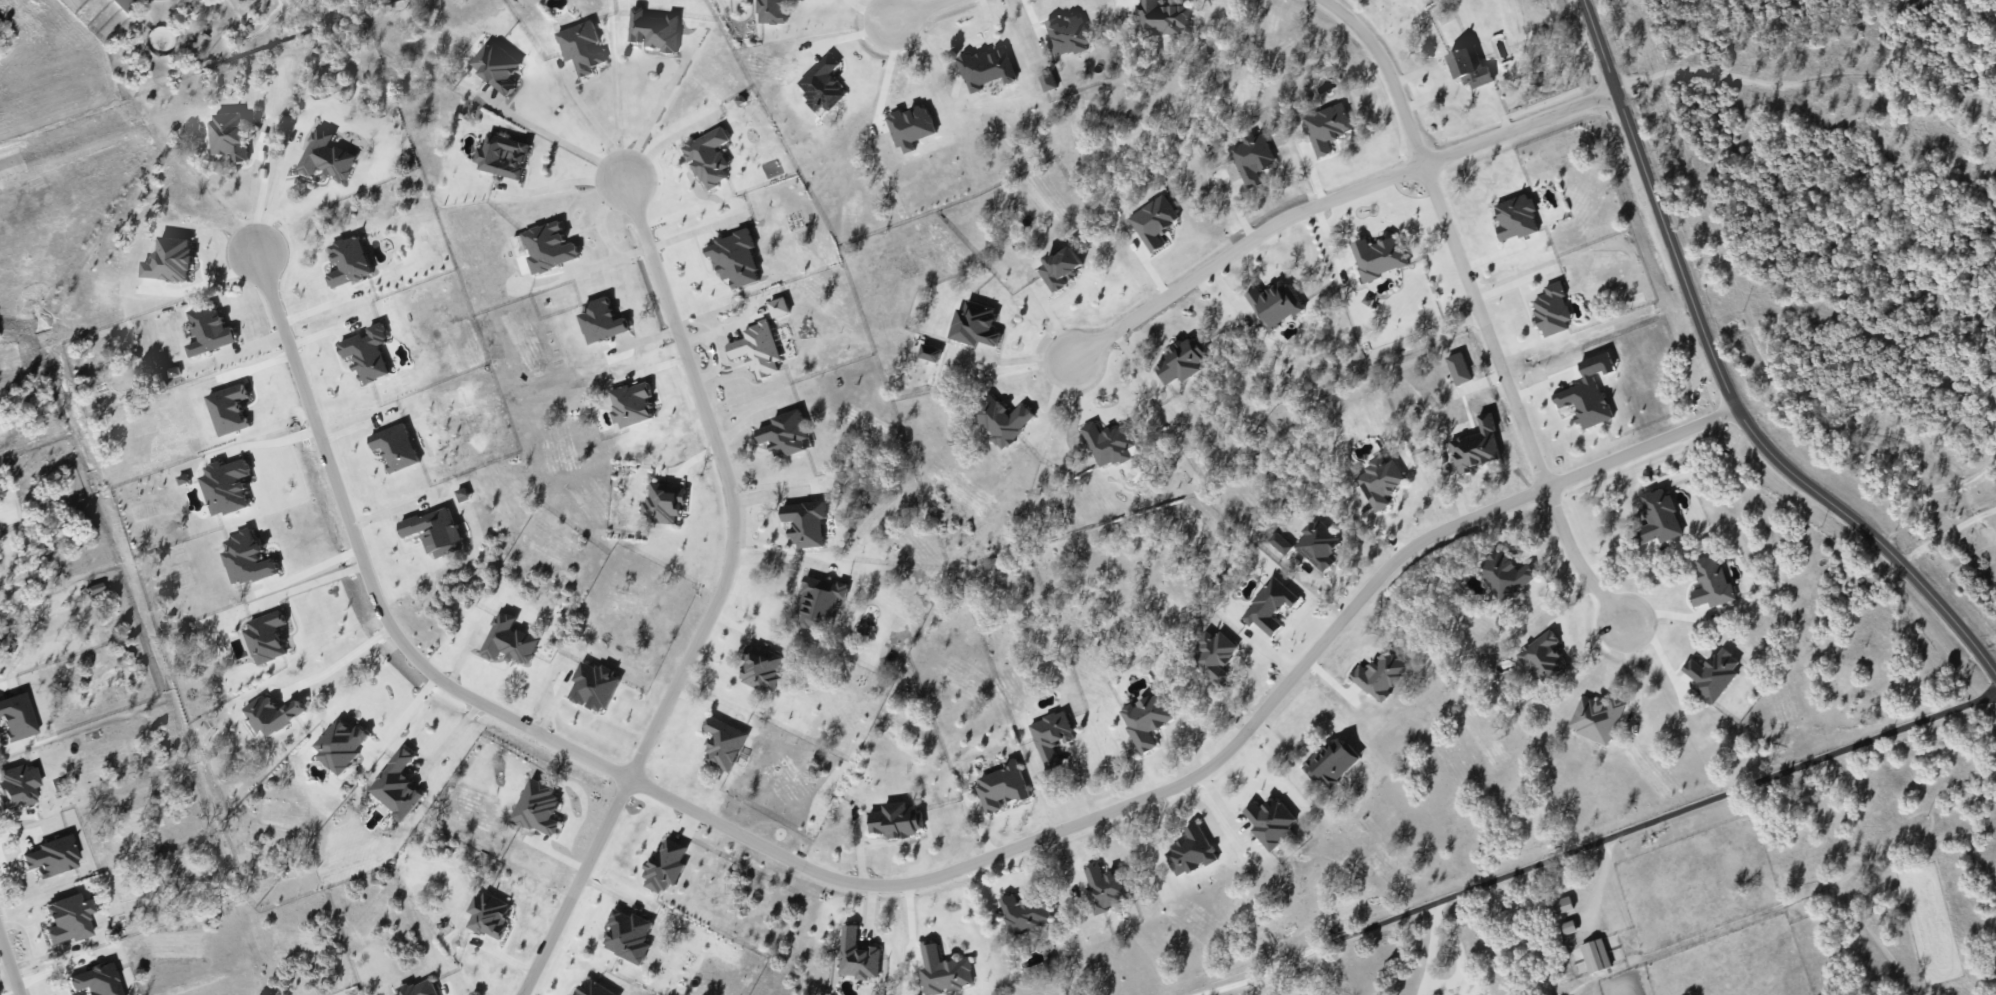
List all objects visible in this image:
building: (123, 4)
road: (874, 8)
road: (921, 8)
building: (772, 11)
building: (1161, 18)
building: (654, 29)
building: (1067, 33)
building: (581, 47)
building: (496, 66)
building: (1469, 66)
building: (985, 68)
road: (886, 70)
building: (1047, 81)
building: (822, 84)
road: (658, 109)
road: (595, 127)
building: (910, 127)
building: (1326, 127)
building: (229, 134)
road: (567, 137)
building: (502, 156)
building: (327, 157)
building: (708, 157)
building: (1251, 158)
road: (275, 196)
road: (1333, 197)
road: (258, 198)
road: (600, 215)
building: (1516, 217)
building: (1153, 221)
building: (549, 247)
building: (1379, 256)
road: (611, 257)
building: (735, 258)
building: (170, 259)
building: (348, 261)
building: (1060, 267)
road: (209, 279)
building: (1274, 303)
building: (778, 306)
road: (1479, 309)
building: (1551, 310)
building: (601, 320)
building: (974, 324)
building: (209, 330)
building: (757, 348)
building: (367, 352)
building: (929, 352)
building: (1181, 360)
building: (1458, 368)
road: (1723, 380)
building: (1588, 392)
building: (631, 404)
building: (1002, 419)
building: (785, 433)
road: (274, 441)
building: (1108, 443)
building: (395, 446)
building: (1474, 450)
building: (1379, 481)
building: (226, 486)
road: (1928, 489)
building: (462, 494)
building: (663, 503)
building: (1658, 517)
building: (805, 522)
building: (435, 531)
road: (1945, 532)
building: (1317, 544)
building: (247, 558)
road: (310, 569)
building: (1504, 574)
road: (311, 582)
building: (1711, 583)
building: (819, 601)
road: (714, 603)
building: (1269, 606)
building: (266, 636)
building: (509, 639)
building: (1214, 654)
building: (1543, 658)
road: (342, 660)
building: (761, 669)
building: (1712, 674)
building: (1379, 675)
road: (1633, 680)
building: (593, 685)
road: (404, 713)
building: (271, 714)
building: (1596, 718)
building: (1146, 719)
building: (1051, 735)
road: (449, 737)
building: (723, 743)
building: (340, 744)
road: (1283, 753)
building: (1331, 762)
building: (17, 785)
building: (397, 785)
building: (1002, 786)
building: (538, 807)
building: (896, 820)
building: (1270, 821)
road: (1594, 841)
building: (1191, 850)
building: (666, 865)
road: (903, 886)
building: (1106, 887)
building: (1562, 904)
building: (1024, 913)
building: (489, 914)
building: (68, 918)
road: (910, 925)
building: (1569, 926)
building: (628, 935)
building: (857, 955)
building: (1595, 955)
road: (9, 965)
building: (943, 971)
road: (1445, 982)
building: (418, 988)
building: (593, 989)

